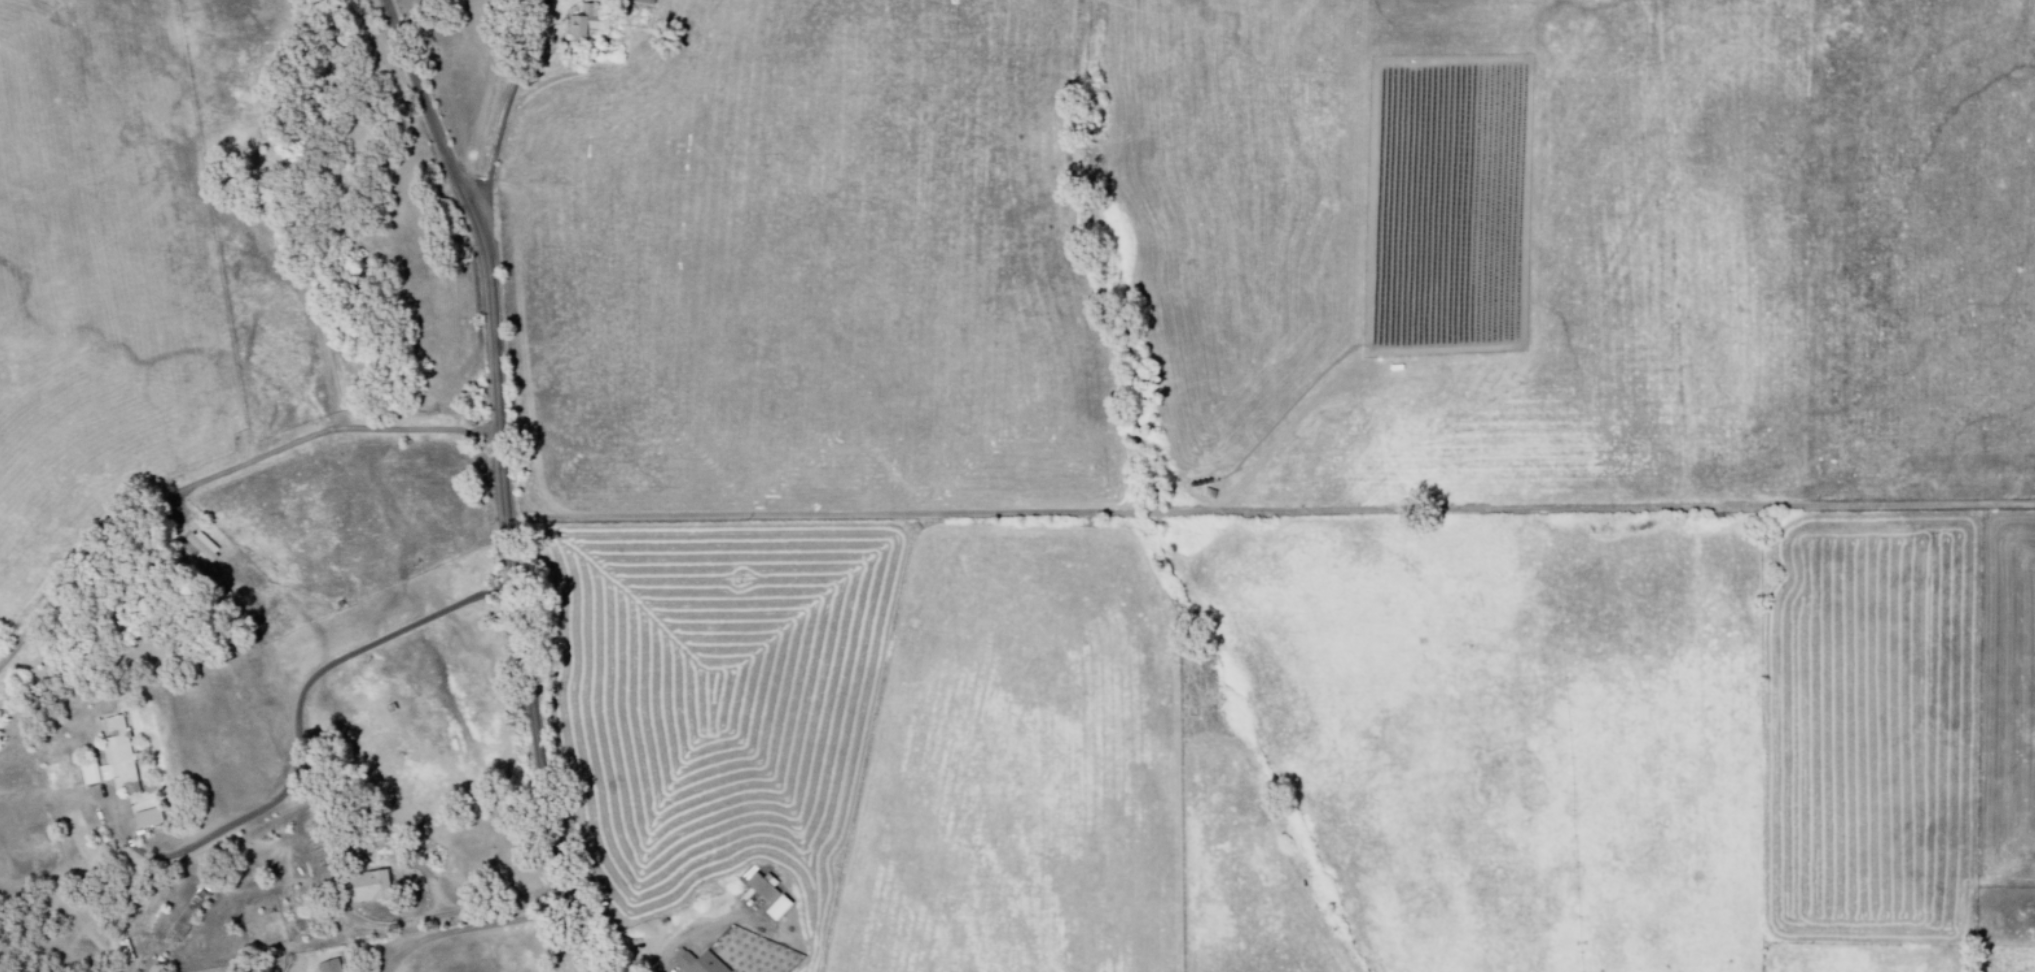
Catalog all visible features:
building: (641, 1)
building: (583, 21)
road: (535, 92)
road: (506, 481)
building: (198, 548)
road: (312, 679)
building: (108, 759)
building: (143, 817)
building: (364, 886)
building: (765, 895)
road: (456, 909)
building: (181, 919)
road: (473, 925)
building: (733, 950)
building: (693, 962)
building: (327, 966)

